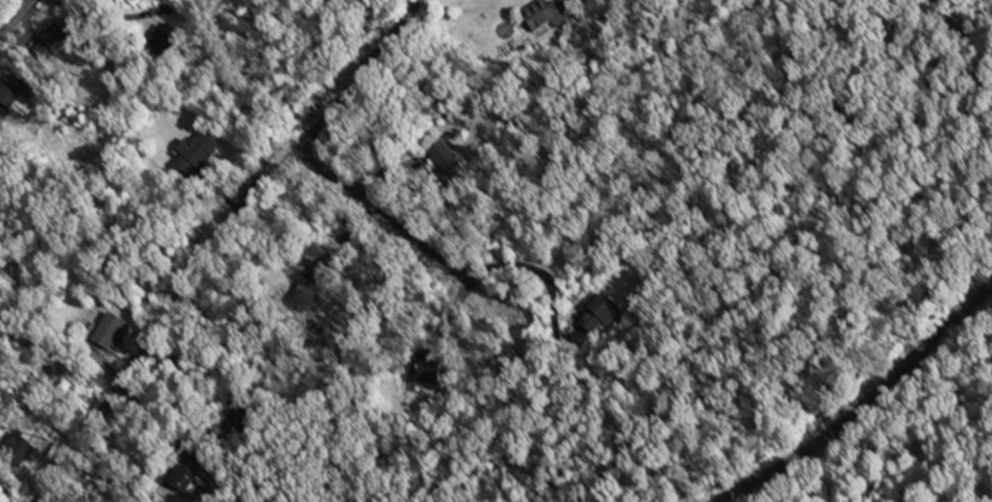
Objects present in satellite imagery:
road: (13, 13)
building: (545, 14)
road: (123, 18)
road: (783, 19)
building: (165, 39)
building: (49, 45)
building: (194, 156)
building: (443, 160)
road: (401, 226)
road: (215, 242)
building: (601, 314)
building: (110, 335)
building: (428, 378)
road: (866, 405)
building: (181, 479)

